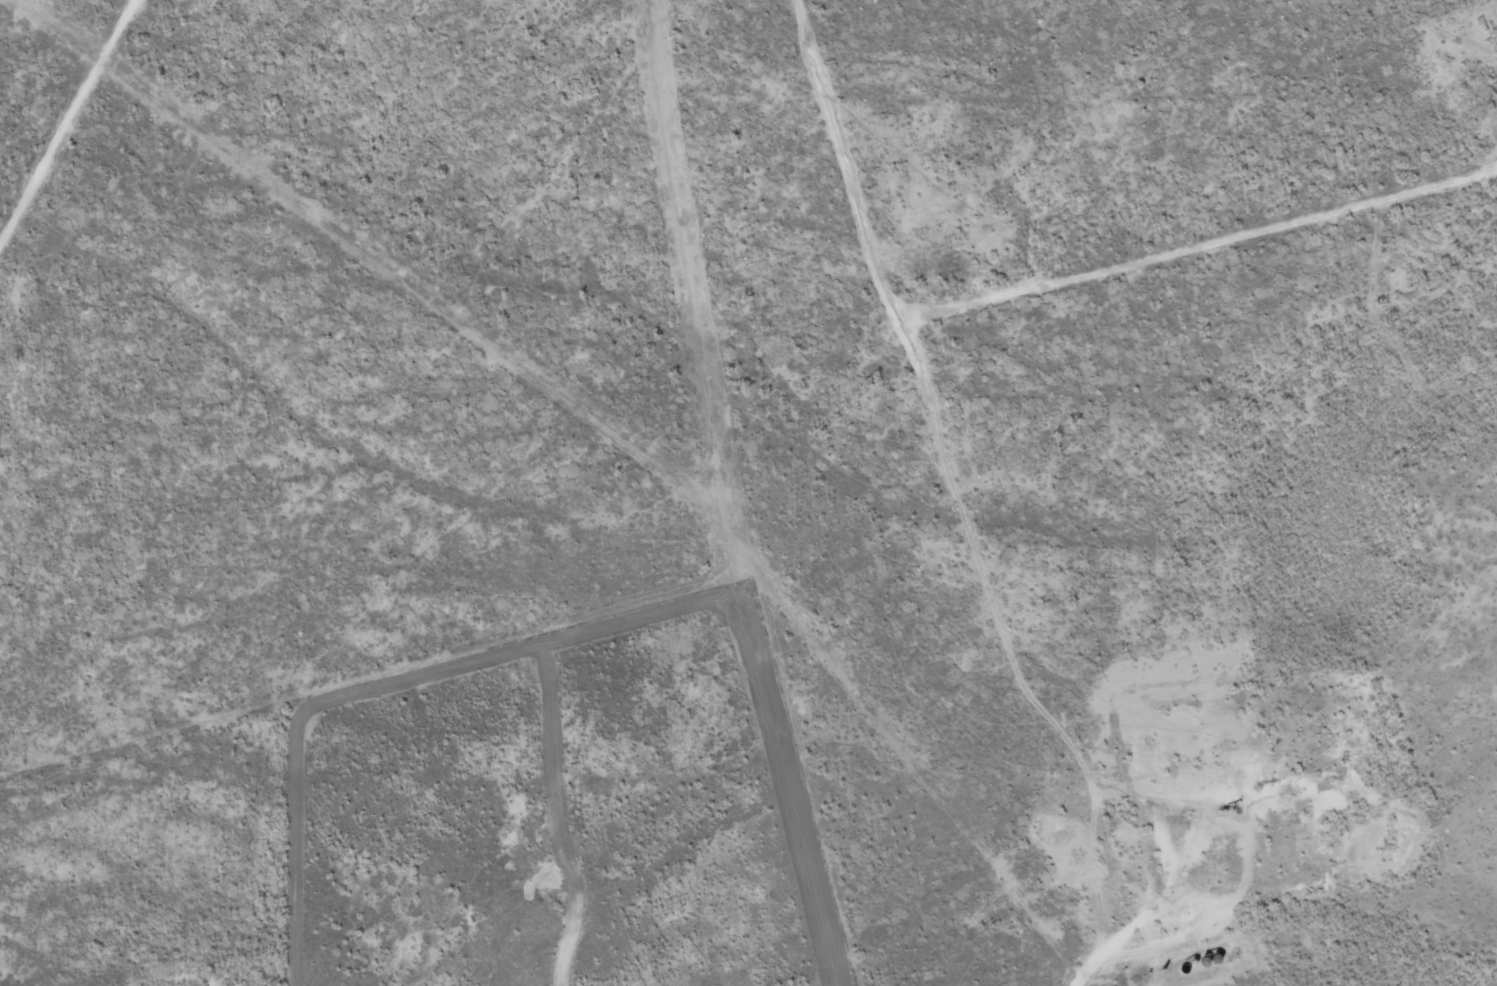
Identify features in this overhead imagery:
road: (66, 123)
road: (994, 303)

